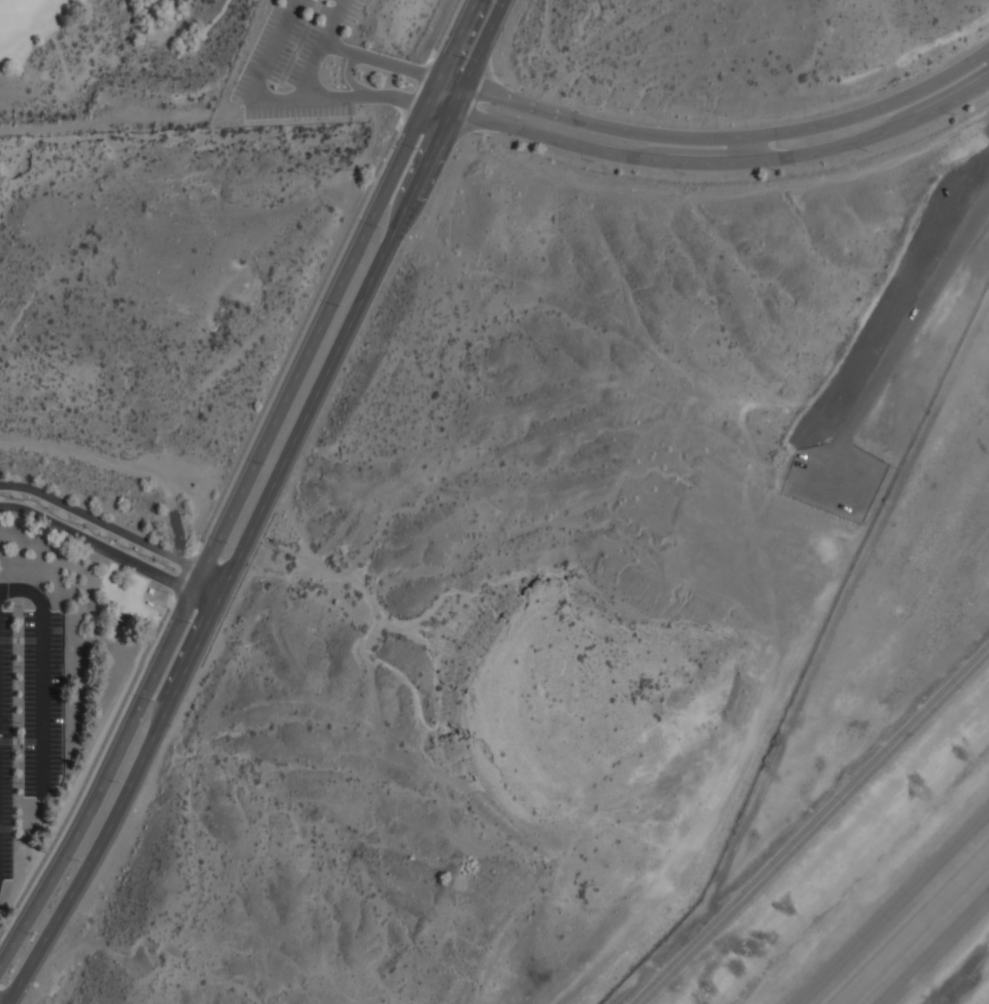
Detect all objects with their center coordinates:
road: (320, 7)
road: (456, 38)
road: (299, 41)
road: (320, 48)
road: (477, 55)
road: (381, 59)
park: (204, 62)
parking lot: (294, 62)
road: (348, 74)
road: (249, 94)
road: (387, 94)
road: (440, 107)
road: (718, 136)
road: (725, 162)
road: (316, 293)
road: (225, 522)
road: (114, 527)
road: (108, 551)
road: (235, 560)
road: (20, 638)
road: (41, 673)
parking lot: (28, 703)
road: (16, 740)
road: (94, 765)
airport: (871, 767)
road: (812, 825)
road: (25, 836)
airport taxiway: (916, 930)

